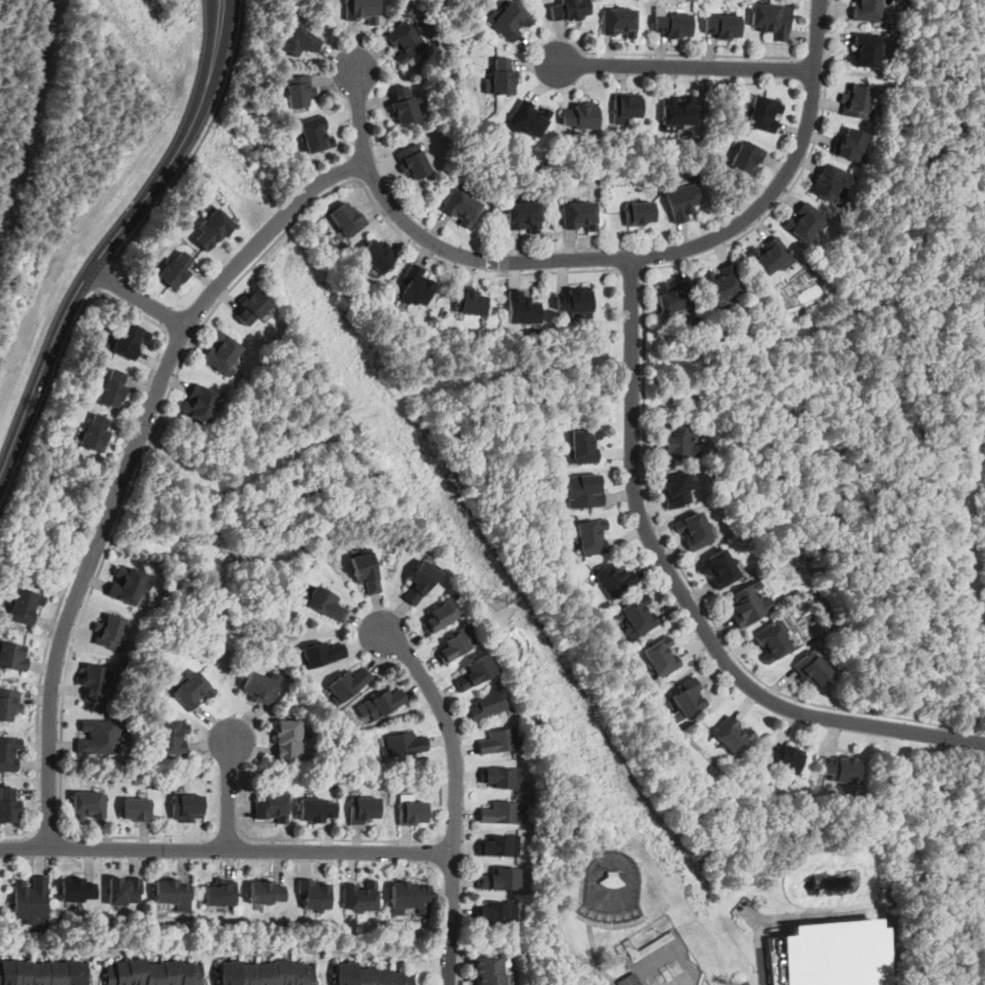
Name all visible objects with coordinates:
building: (570, 9)
building: (362, 10)
building: (868, 10)
building: (510, 20)
building: (772, 20)
building: (620, 22)
building: (674, 25)
building: (723, 26)
road: (211, 37)
road: (225, 39)
building: (301, 41)
building: (405, 41)
street lamp: (341, 46)
street lamp: (699, 50)
building: (866, 50)
road: (691, 54)
road: (814, 57)
road: (826, 57)
road: (569, 58)
road: (686, 67)
street lamp: (830, 72)
building: (503, 77)
road: (135, 80)
building: (299, 90)
building: (857, 102)
building: (404, 105)
building: (628, 105)
railway: (35, 107)
building: (680, 110)
building: (763, 113)
building: (582, 116)
building: (529, 119)
road: (181, 130)
building: (315, 134)
road: (202, 140)
road: (190, 142)
building: (851, 144)
road: (56, 147)
building: (747, 156)
building: (413, 162)
road: (363, 176)
building: (831, 182)
street lamp: (358, 186)
road: (232, 189)
building: (683, 202)
street lamp: (160, 206)
building: (462, 207)
building: (640, 213)
street lamp: (773, 214)
building: (525, 216)
building: (580, 216)
building: (348, 219)
building: (805, 222)
building: (213, 227)
road: (266, 233)
street lamp: (607, 245)
building: (378, 256)
building: (771, 257)
road: (612, 258)
road: (92, 267)
road: (631, 268)
road: (646, 269)
building: (177, 270)
road: (105, 275)
building: (724, 283)
building: (416, 286)
street lamp: (106, 296)
road: (139, 297)
building: (674, 297)
building: (576, 300)
building: (470, 301)
street lamp: (182, 305)
building: (253, 307)
building: (523, 308)
road: (167, 323)
building: (129, 340)
building: (223, 354)
road: (178, 356)
street lamp: (59, 376)
building: (113, 388)
road: (166, 399)
building: (201, 403)
road: (644, 424)
building: (96, 434)
road: (124, 439)
building: (679, 442)
building: (584, 447)
street lamp: (22, 464)
street lamp: (139, 477)
building: (678, 489)
building: (584, 491)
street lamp: (627, 511)
building: (695, 531)
building: (591, 537)
building: (720, 568)
building: (365, 571)
road: (82, 578)
building: (614, 580)
building: (421, 583)
building: (127, 585)
road: (684, 599)
power tower: (501, 600)
building: (749, 604)
building: (327, 605)
building: (25, 606)
building: (639, 615)
building: (444, 616)
building: (110, 633)
building: (772, 642)
building: (456, 645)
street lamp: (75, 652)
building: (321, 654)
building: (13, 656)
building: (662, 657)
street lamp: (708, 659)
street lamp: (395, 663)
building: (812, 670)
building: (476, 672)
building: (94, 681)
building: (350, 687)
building: (259, 688)
building: (193, 690)
building: (689, 697)
building: (9, 704)
building: (381, 707)
building: (489, 707)
street lamp: (254, 724)
building: (733, 735)
building: (99, 737)
building: (172, 737)
building: (289, 739)
street lamp: (884, 740)
building: (500, 741)
building: (405, 744)
building: (9, 754)
building: (785, 758)
building: (842, 769)
building: (504, 778)
road: (227, 793)
road: (455, 797)
building: (8, 805)
building: (88, 805)
building: (187, 807)
building: (272, 807)
building: (137, 809)
building: (317, 810)
building: (364, 810)
building: (412, 812)
building: (502, 812)
road: (48, 831)
road: (227, 833)
road: (447, 836)
road: (340, 838)
building: (500, 845)
road: (226, 848)
street lamp: (53, 859)
street lamp: (465, 859)
street lamp: (244, 861)
street lamp: (614, 869)
building: (613, 879)
building: (503, 881)
building: (76, 890)
building: (124, 890)
park: (612, 890)
park: (758, 890)
building: (171, 891)
building: (266, 892)
building: (221, 893)
building: (409, 894)
building: (314, 895)
building: (361, 896)
building: (31, 900)
building: (503, 914)
street lamp: (661, 931)
street lamp: (638, 946)
building: (831, 953)
street lamp: (466, 954)
road: (595, 955)
street lamp: (583, 957)
park: (662, 960)
road: (461, 964)
road: (764, 966)
building: (492, 971)
building: (44, 972)
building: (154, 973)
building: (267, 973)
building: (371, 976)
road: (623, 976)
building: (630, 980)

